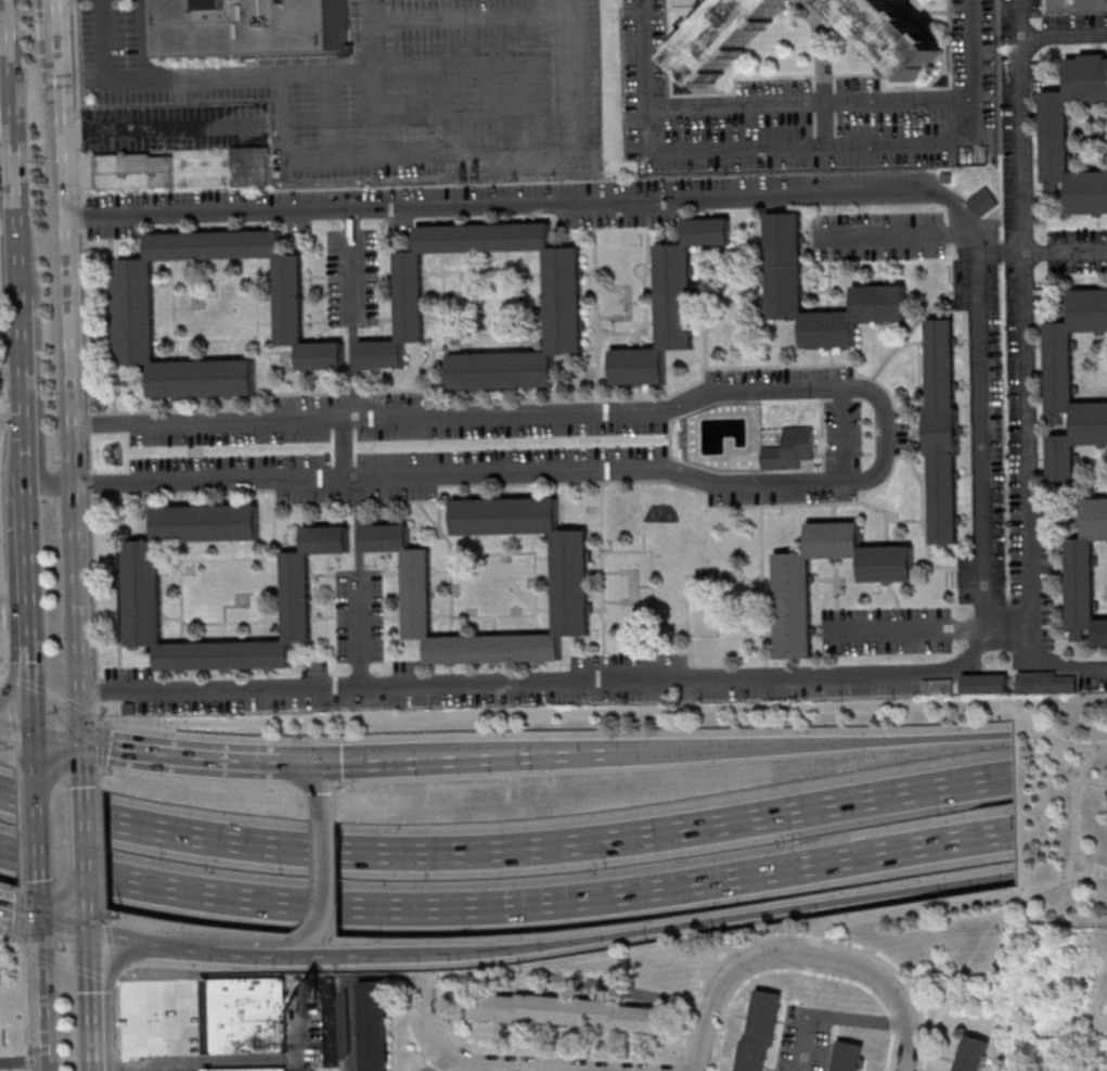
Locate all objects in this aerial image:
road: (474, 18)
road: (1016, 18)
building: (247, 21)
building: (890, 34)
road: (4, 36)
building: (725, 36)
road: (1061, 36)
road: (44, 55)
road: (59, 55)
road: (475, 63)
road: (326, 74)
road: (374, 78)
road: (804, 102)
road: (475, 107)
road: (326, 116)
road: (823, 124)
road: (160, 128)
building: (1055, 135)
road: (811, 145)
road: (13, 148)
road: (339, 157)
road: (7, 160)
building: (249, 164)
building: (131, 169)
building: (982, 202)
road: (893, 232)
building: (782, 247)
road: (1064, 253)
road: (994, 255)
building: (562, 294)
building: (132, 302)
building: (669, 302)
road: (353, 315)
road: (5, 354)
road: (20, 356)
road: (86, 360)
road: (10, 372)
building: (1072, 381)
road: (1022, 387)
road: (493, 415)
road: (11, 417)
road: (68, 426)
building: (941, 430)
road: (976, 430)
road: (842, 434)
road: (343, 448)
building: (788, 448)
road: (23, 455)
road: (39, 459)
road: (498, 471)
road: (1, 547)
building: (1085, 572)
road: (359, 581)
building: (570, 590)
building: (139, 592)
road: (0, 596)
road: (13, 597)
road: (27, 614)
building: (791, 619)
road: (932, 628)
road: (5, 640)
building: (719, 645)
road: (2, 673)
road: (2, 676)
road: (24, 681)
building: (982, 681)
building: (1043, 681)
building: (936, 686)
road: (55, 694)
road: (10, 707)
road: (81, 709)
road: (608, 712)
road: (15, 730)
traffic signals: (33, 735)
road: (56, 738)
traffic signals: (80, 742)
road: (98, 742)
road: (804, 744)
road: (16, 753)
road: (34, 753)
road: (185, 756)
road: (447, 760)
traffic signals: (293, 762)
road: (1086, 762)
road: (80, 764)
road: (99, 769)
road: (1092, 780)
road: (316, 786)
road: (1074, 804)
park: (1058, 808)
road: (20, 827)
road: (36, 832)
road: (101, 844)
road: (83, 845)
road: (504, 850)
road: (1083, 859)
road: (323, 876)
road: (38, 904)
road: (505, 905)
road: (940, 905)
road: (18, 911)
road: (22, 914)
traffic signals: (39, 915)
road: (86, 916)
road: (63, 921)
traffic signals: (87, 928)
road: (654, 928)
road: (12, 934)
road: (142, 941)
road: (834, 941)
road: (305, 943)
road: (246, 948)
road: (25, 952)
road: (40, 958)
road: (65, 964)
road: (94, 973)
road: (732, 977)
road: (850, 981)
road: (116, 983)
road: (118, 990)
road: (41, 993)
road: (892, 993)
road: (653, 995)
road: (90, 998)
road: (25, 1004)
building: (567, 1013)
building: (245, 1015)
road: (858, 1021)
building: (374, 1025)
building: (758, 1033)
road: (807, 1044)
building: (970, 1053)
building: (849, 1056)
road: (222, 1062)
road: (437, 1062)
road: (466, 1062)
road: (118, 1064)
road: (143, 1068)
building: (248, 1069)

